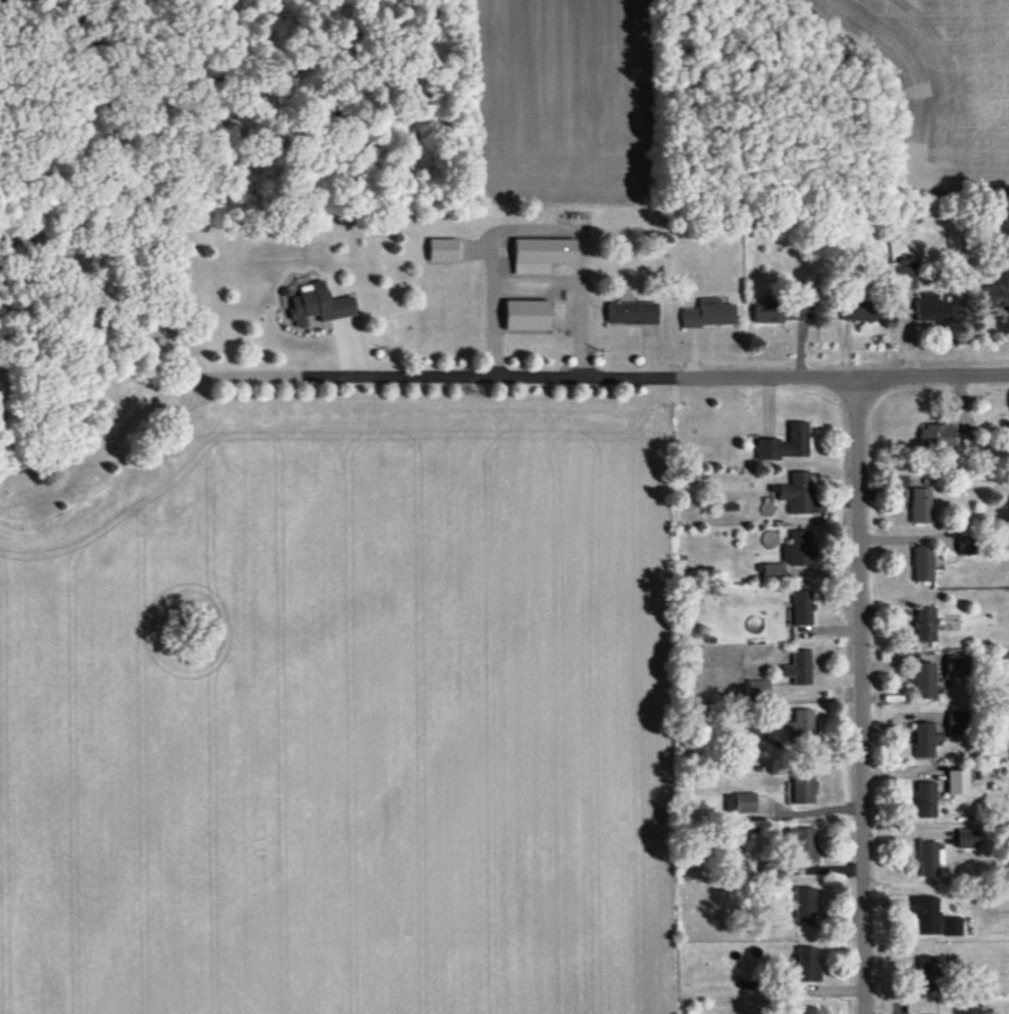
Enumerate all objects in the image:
building: (442, 250)
building: (540, 254)
building: (905, 272)
building: (998, 286)
building: (318, 304)
building: (931, 307)
building: (858, 310)
building: (781, 311)
building: (631, 313)
building: (707, 313)
building: (526, 315)
road: (657, 375)
building: (936, 435)
building: (784, 444)
building: (795, 493)
building: (919, 505)
building: (964, 545)
building: (797, 549)
building: (922, 564)
building: (771, 571)
building: (801, 607)
building: (924, 624)
building: (956, 665)
building: (798, 667)
building: (922, 679)
building: (757, 688)
road: (862, 695)
building: (957, 721)
building: (800, 726)
building: (923, 739)
building: (957, 782)
building: (802, 787)
building: (925, 799)
building: (740, 802)
building: (965, 838)
building: (803, 844)
building: (928, 858)
building: (804, 904)
building: (925, 914)
building: (951, 926)
building: (806, 965)
building: (926, 974)

